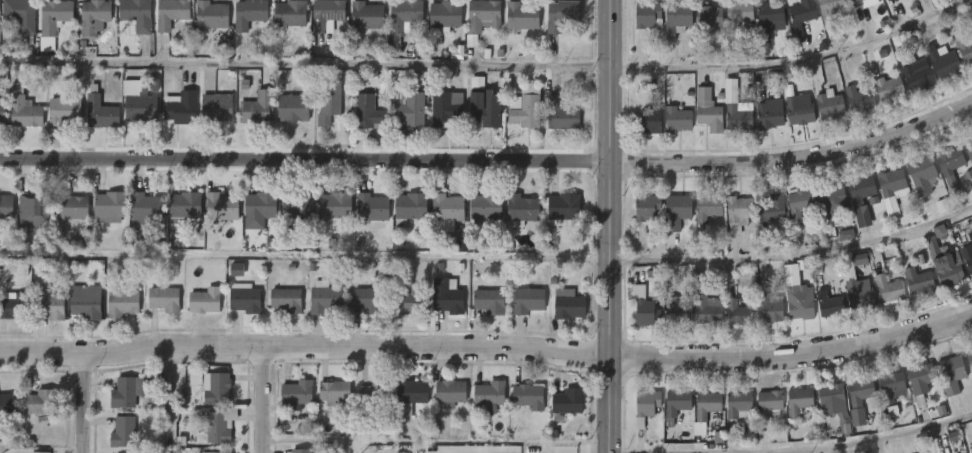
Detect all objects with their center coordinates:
building: (854, 3)
building: (829, 9)
building: (250, 13)
building: (291, 13)
building: (737, 13)
building: (21, 14)
building: (137, 14)
building: (172, 14)
building: (402, 14)
building: (563, 14)
building: (769, 14)
building: (55, 15)
building: (212, 15)
building: (327, 15)
building: (364, 15)
building: (442, 15)
building: (480, 15)
building: (520, 16)
building: (677, 16)
building: (708, 16)
building: (94, 17)
building: (648, 17)
building: (800, 18)
building: (472, 41)
building: (421, 48)
building: (965, 50)
building: (942, 61)
road: (488, 64)
building: (919, 77)
building: (251, 80)
building: (890, 89)
building: (857, 99)
building: (143, 101)
building: (330, 102)
building: (829, 106)
building: (296, 107)
building: (26, 108)
building: (220, 108)
building: (258, 108)
building: (445, 108)
building: (184, 109)
building: (483, 109)
building: (409, 110)
building: (799, 110)
building: (66, 111)
building: (103, 111)
building: (366, 111)
building: (521, 111)
building: (707, 111)
building: (2, 112)
building: (562, 114)
building: (767, 114)
building: (737, 116)
building: (675, 119)
building: (648, 121)
building: (968, 150)
road: (490, 161)
building: (950, 167)
building: (921, 176)
building: (891, 183)
building: (860, 190)
building: (799, 203)
building: (831, 204)
building: (336, 205)
building: (73, 206)
building: (224, 206)
building: (408, 206)
building: (485, 206)
building: (6, 207)
building: (111, 207)
building: (187, 207)
building: (299, 207)
building: (373, 207)
building: (445, 207)
building: (646, 208)
building: (706, 208)
building: (770, 208)
building: (149, 209)
building: (520, 209)
building: (561, 209)
building: (261, 210)
building: (35, 212)
building: (675, 212)
building: (738, 213)
road: (610, 226)
building: (939, 231)
building: (397, 244)
road: (794, 254)
building: (859, 259)
building: (967, 259)
building: (944, 265)
building: (237, 270)
building: (917, 281)
building: (887, 289)
building: (860, 293)
building: (443, 296)
building: (795, 296)
building: (245, 298)
building: (325, 298)
building: (165, 299)
building: (88, 300)
building: (287, 300)
building: (368, 300)
building: (529, 300)
building: (123, 301)
building: (206, 301)
building: (409, 301)
building: (487, 301)
building: (704, 304)
building: (828, 305)
building: (567, 306)
building: (15, 307)
building: (49, 307)
building: (767, 309)
building: (645, 313)
building: (675, 313)
building: (737, 313)
road: (305, 346)
road: (793, 356)
building: (969, 358)
building: (950, 373)
building: (919, 381)
building: (890, 385)
building: (216, 388)
building: (412, 391)
building: (126, 392)
building: (451, 392)
building: (299, 393)
building: (335, 393)
building: (376, 393)
building: (861, 393)
building: (491, 395)
building: (530, 397)
building: (829, 397)
road: (171, 398)
road: (263, 399)
road: (84, 401)
building: (569, 401)
building: (677, 401)
building: (797, 401)
building: (767, 402)
building: (41, 403)
building: (8, 405)
building: (706, 405)
building: (738, 405)
building: (644, 406)
building: (220, 427)
building: (123, 432)
road: (792, 449)
building: (302, 451)
road: (515, 451)
building: (40, 452)
building: (221, 452)

